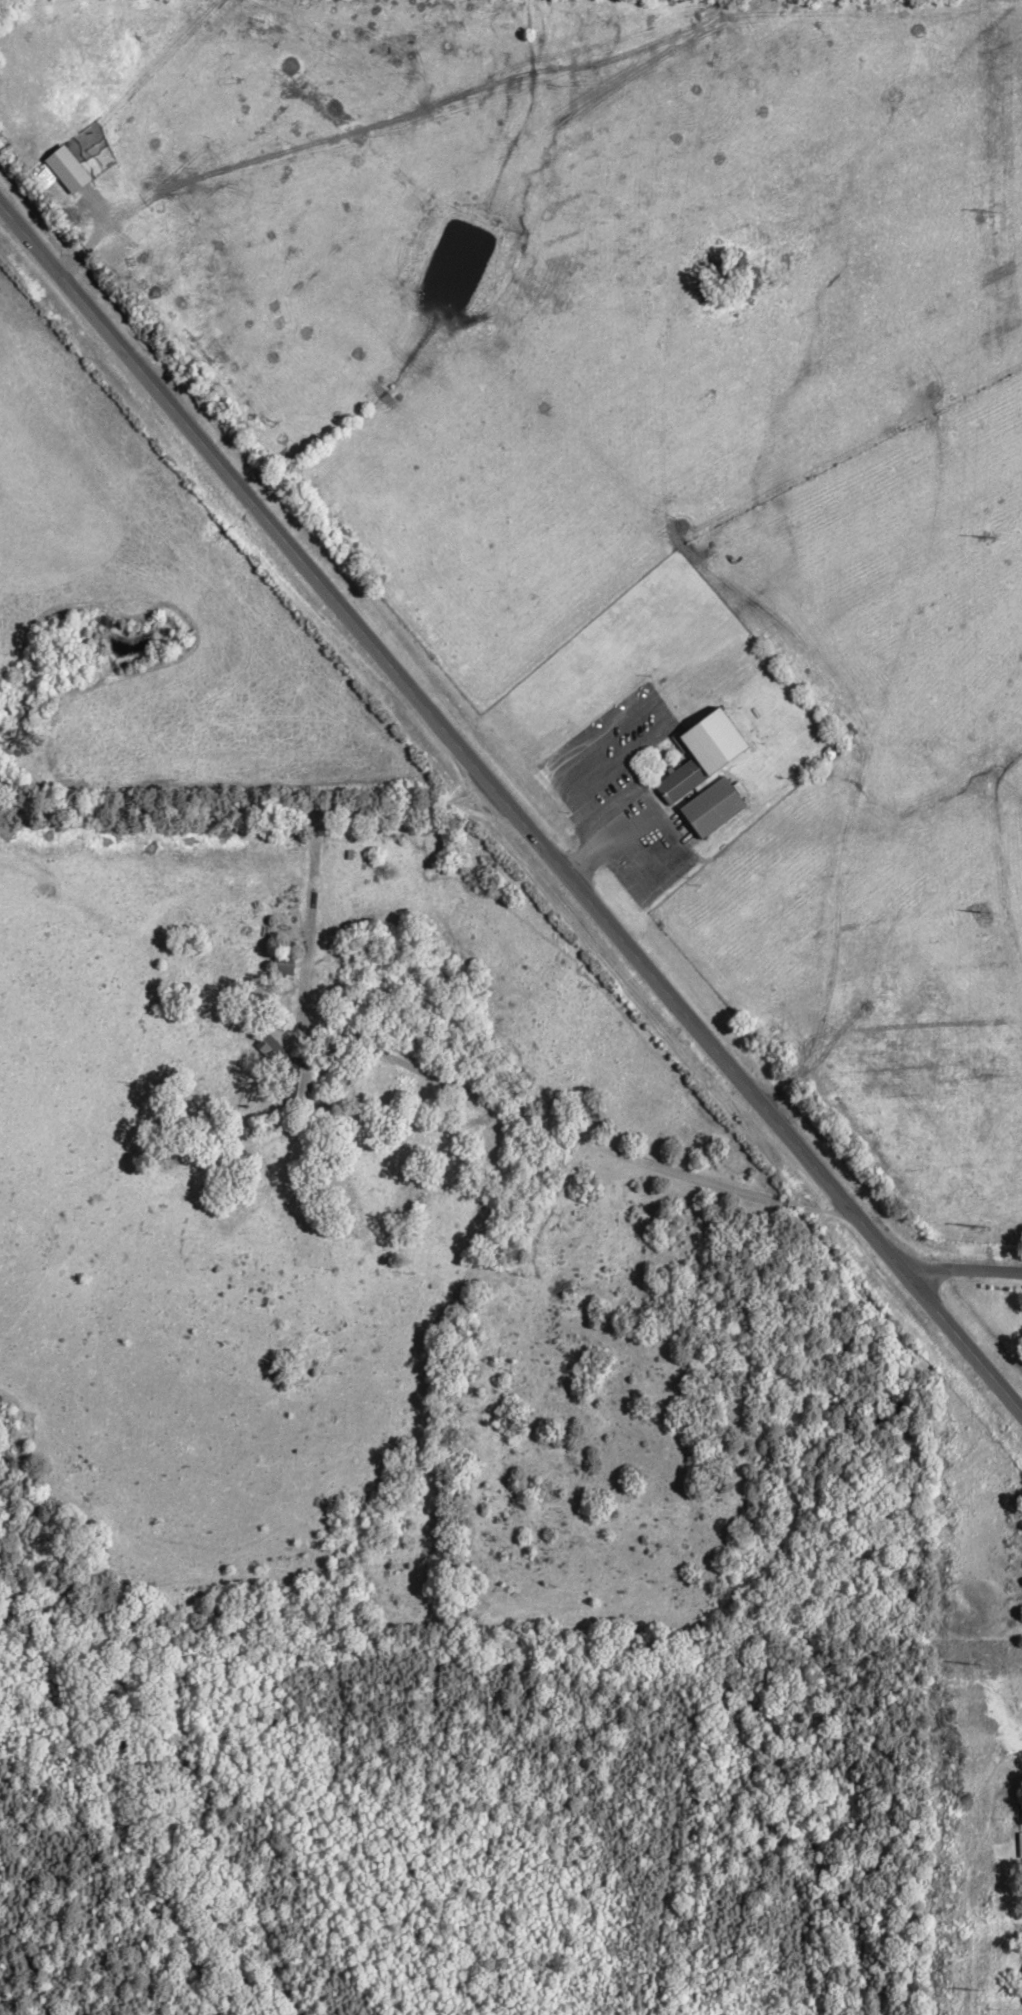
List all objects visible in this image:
power tower: (985, 215)
power tower: (982, 541)
building: (708, 776)
road: (508, 812)
power tower: (979, 913)
building: (286, 966)
building: (301, 1081)
road: (567, 1137)
power tower: (976, 1230)
road: (964, 1273)
power tower: (972, 1664)
building: (1021, 1848)
road: (1021, 1932)
power tower: (969, 1994)

